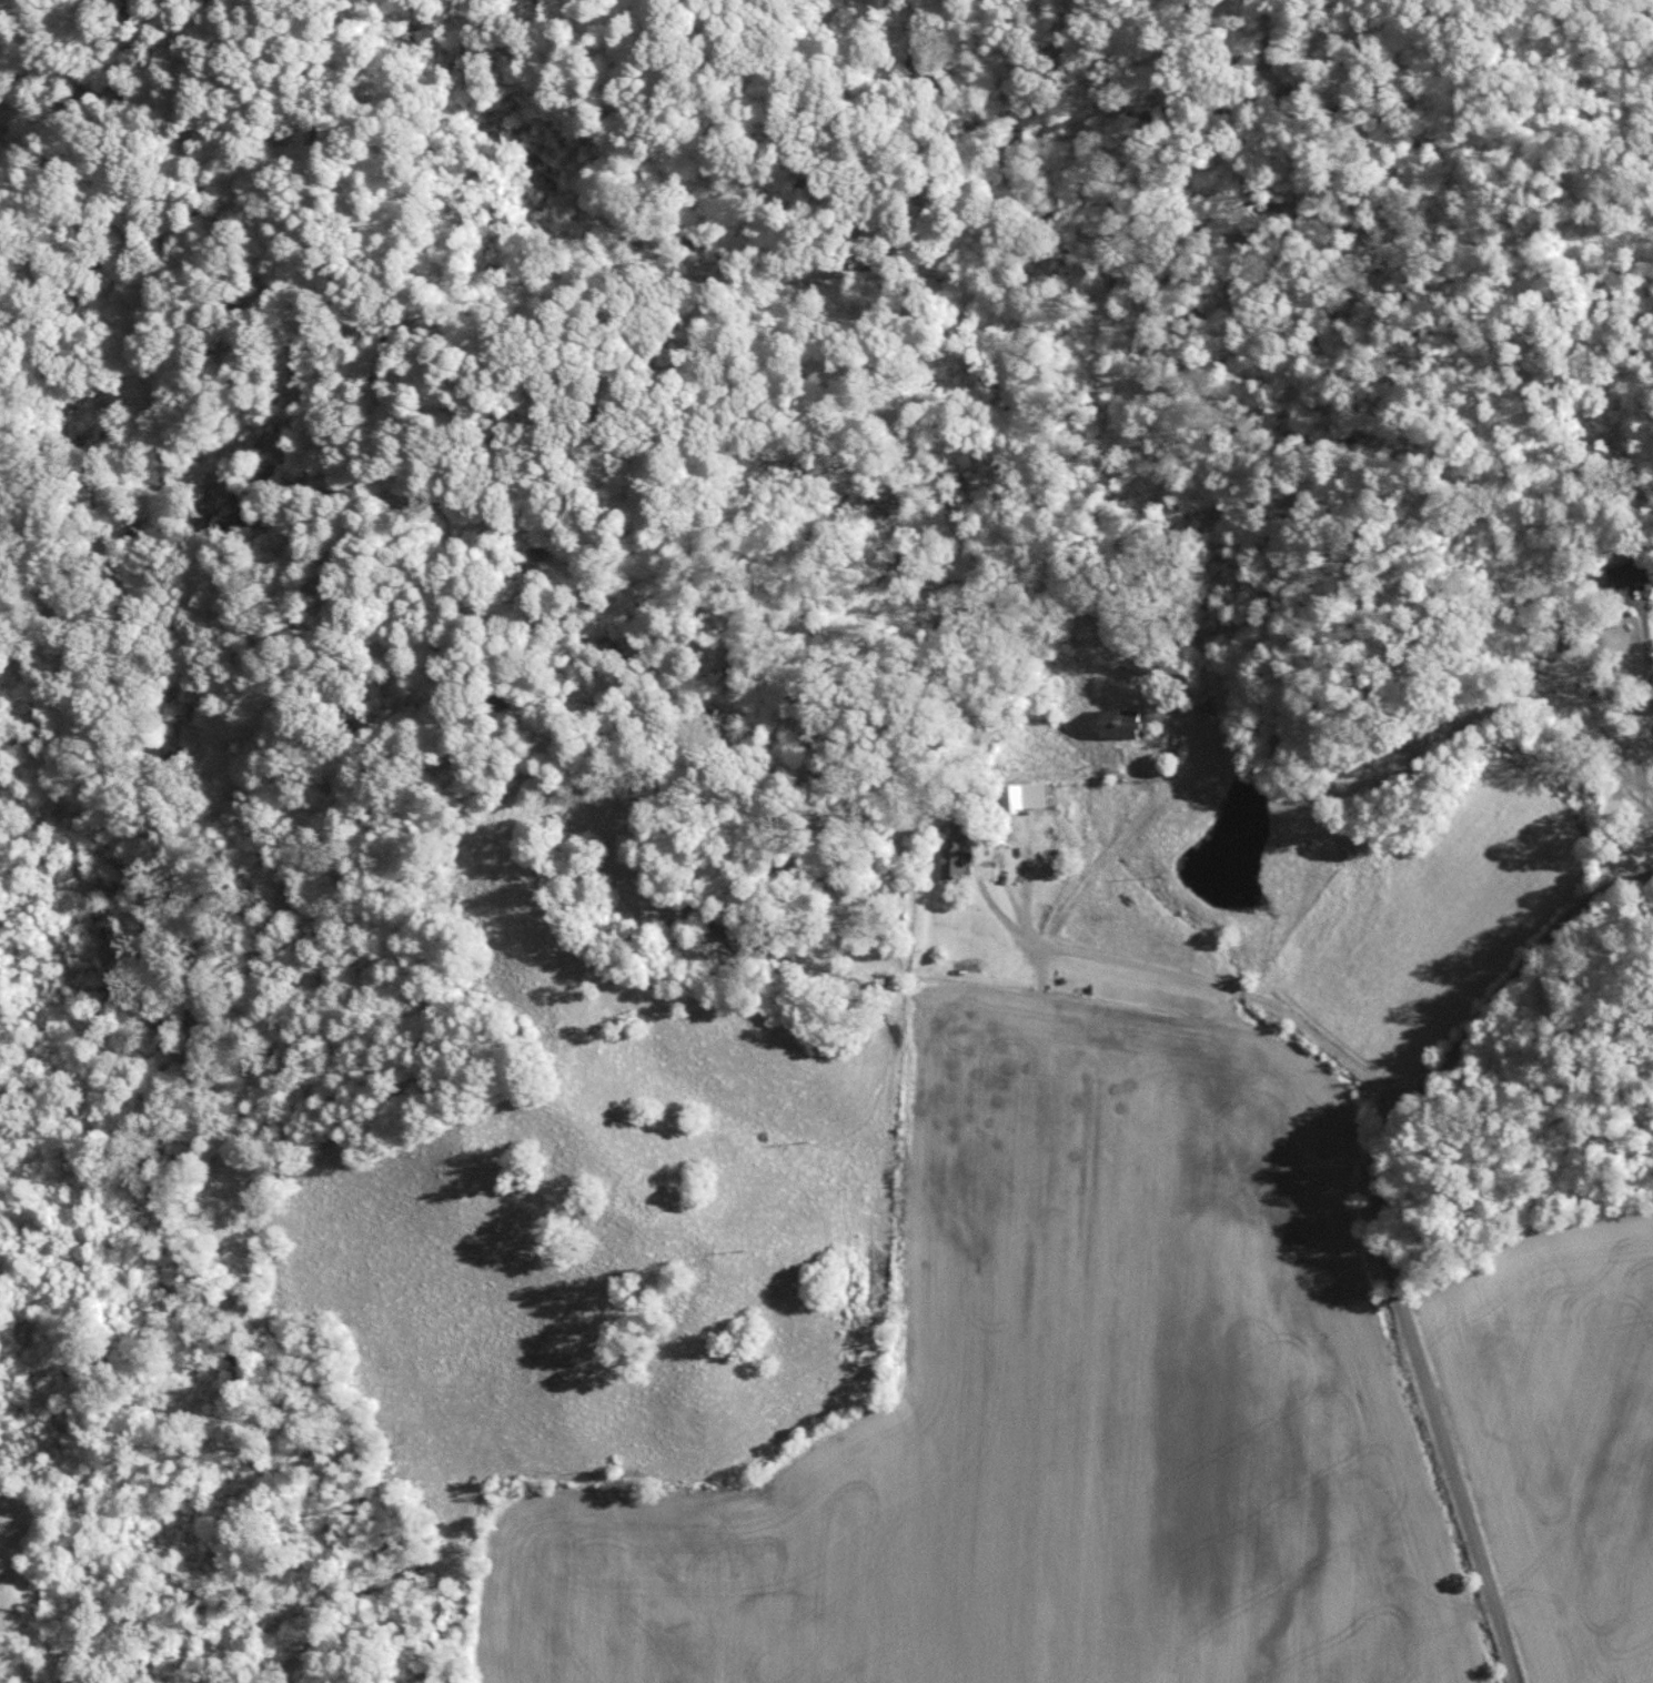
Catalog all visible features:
building: (1629, 573)
building: (1118, 722)
building: (1024, 796)
building: (953, 857)
road: (1195, 966)
road: (1384, 1226)

